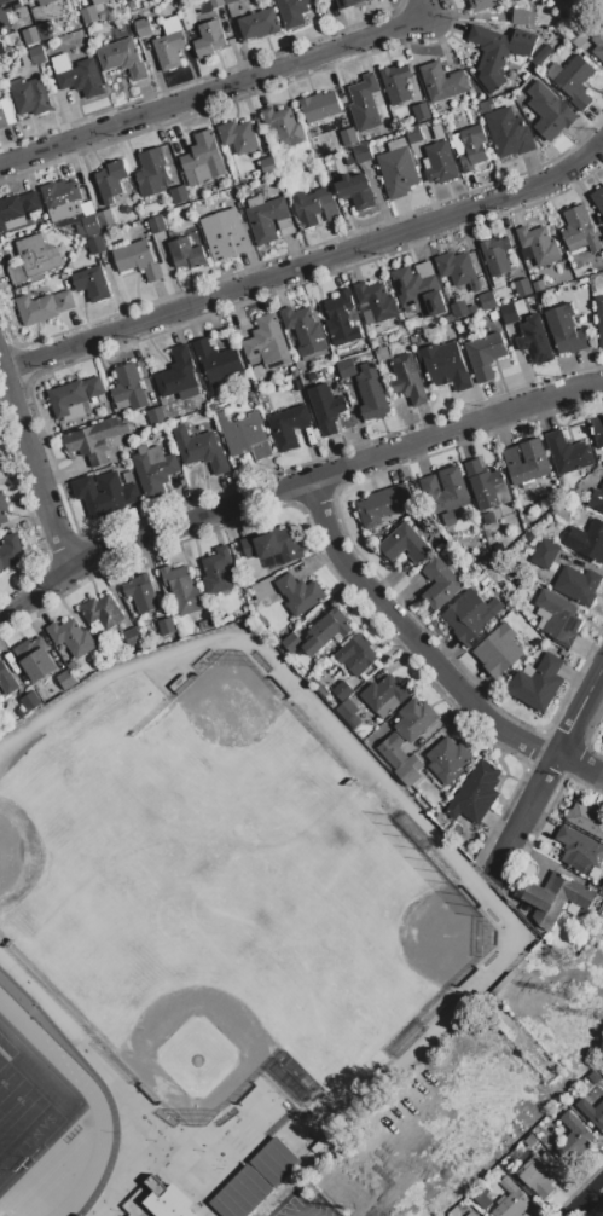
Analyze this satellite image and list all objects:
building: (44, 1)
building: (97, 1)
building: (128, 1)
building: (230, 1)
building: (579, 1)
building: (349, 4)
building: (483, 5)
building: (208, 6)
building: (7, 11)
building: (292, 12)
building: (94, 13)
building: (522, 18)
building: (259, 25)
building: (143, 29)
building: (45, 31)
building: (29, 37)
building: (576, 39)
building: (208, 40)
building: (598, 44)
building: (169, 45)
building: (1, 50)
building: (498, 53)
building: (36, 56)
building: (541, 57)
building: (122, 59)
building: (77, 76)
building: (572, 81)
building: (442, 83)
building: (395, 85)
road: (224, 91)
building: (30, 98)
building: (365, 104)
building: (319, 108)
building: (421, 112)
building: (549, 112)
building: (6, 114)
building: (284, 127)
building: (413, 134)
building: (509, 134)
building: (238, 138)
building: (348, 138)
building: (472, 149)
building: (359, 155)
building: (203, 158)
building: (440, 164)
building: (267, 166)
building: (398, 170)
building: (152, 173)
building: (111, 181)
building: (356, 191)
building: (178, 195)
building: (62, 201)
building: (598, 201)
building: (311, 207)
building: (17, 208)
building: (104, 219)
building: (268, 220)
building: (89, 225)
building: (156, 225)
building: (580, 232)
building: (225, 236)
building: (538, 245)
building: (95, 247)
building: (186, 255)
building: (36, 256)
building: (495, 256)
building: (138, 260)
road: (308, 265)
building: (457, 271)
building: (92, 284)
building: (538, 286)
building: (522, 289)
building: (419, 290)
building: (376, 301)
building: (487, 302)
building: (42, 308)
building: (462, 311)
building: (509, 314)
building: (599, 318)
building: (341, 320)
building: (305, 331)
building: (566, 331)
building: (534, 341)
building: (266, 344)
building: (383, 354)
building: (485, 357)
building: (216, 360)
building: (446, 366)
building: (346, 369)
building: (176, 374)
building: (313, 377)
building: (407, 381)
building: (296, 382)
building: (128, 388)
building: (371, 393)
building: (74, 396)
building: (326, 409)
building: (156, 417)
building: (288, 428)
building: (598, 432)
building: (245, 438)
building: (95, 440)
building: (199, 450)
building: (568, 454)
building: (527, 463)
road: (33, 467)
building: (153, 470)
road: (320, 477)
building: (453, 486)
building: (486, 487)
building: (105, 494)
building: (597, 500)
building: (382, 505)
building: (2, 510)
building: (489, 520)
building: (446, 521)
building: (588, 542)
building: (274, 545)
building: (405, 545)
building: (10, 552)
building: (545, 555)
building: (216, 573)
building: (441, 585)
building: (578, 586)
building: (182, 590)
building: (261, 591)
building: (141, 593)
building: (298, 595)
road: (24, 603)
building: (102, 613)
building: (470, 616)
building: (557, 618)
building: (205, 626)
building: (167, 627)
building: (326, 632)
building: (71, 638)
building: (132, 638)
building: (291, 643)
building: (499, 652)
building: (356, 656)
road: (428, 658)
building: (35, 659)
building: (6, 682)
building: (65, 682)
building: (538, 684)
building: (342, 691)
building: (385, 694)
building: (28, 705)
road: (579, 711)
building: (349, 714)
building: (414, 720)
park: (232, 736)
building: (393, 751)
building: (447, 760)
building: (410, 772)
building: (475, 794)
road: (527, 810)
building: (587, 820)
building: (579, 851)
park: (16, 856)
park: (186, 885)
building: (557, 898)
park: (402, 943)
power tower: (576, 995)
park: (193, 1050)
building: (593, 1077)
track: (93, 1104)
building: (592, 1113)
park: (21, 1121)
building: (574, 1139)
building: (274, 1163)
building: (538, 1176)
building: (240, 1194)
building: (481, 1198)
building: (164, 1199)
building: (511, 1201)
road: (590, 1201)
parking lot: (307, 1206)
power tower: (356, 1209)
road: (306, 1215)
road: (307, 1215)
building: (471, 1215)

